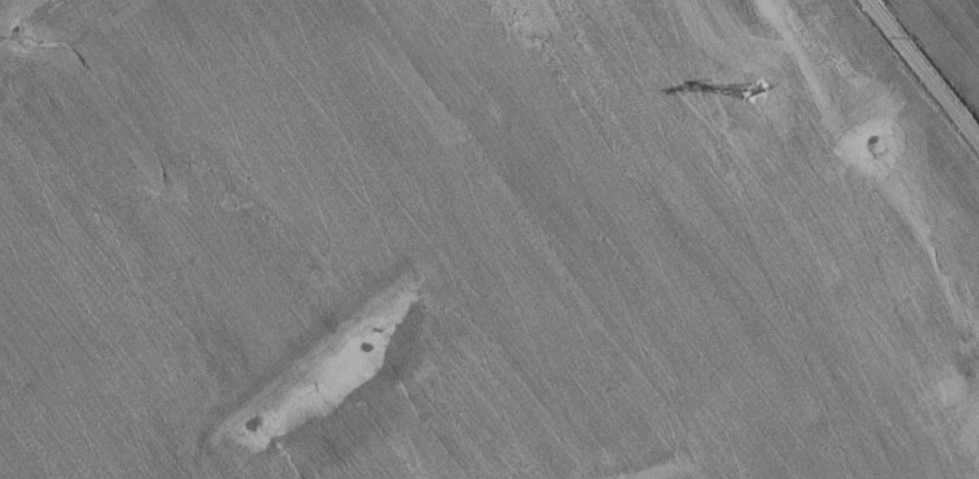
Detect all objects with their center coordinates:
road: (919, 74)
power tower: (747, 97)

